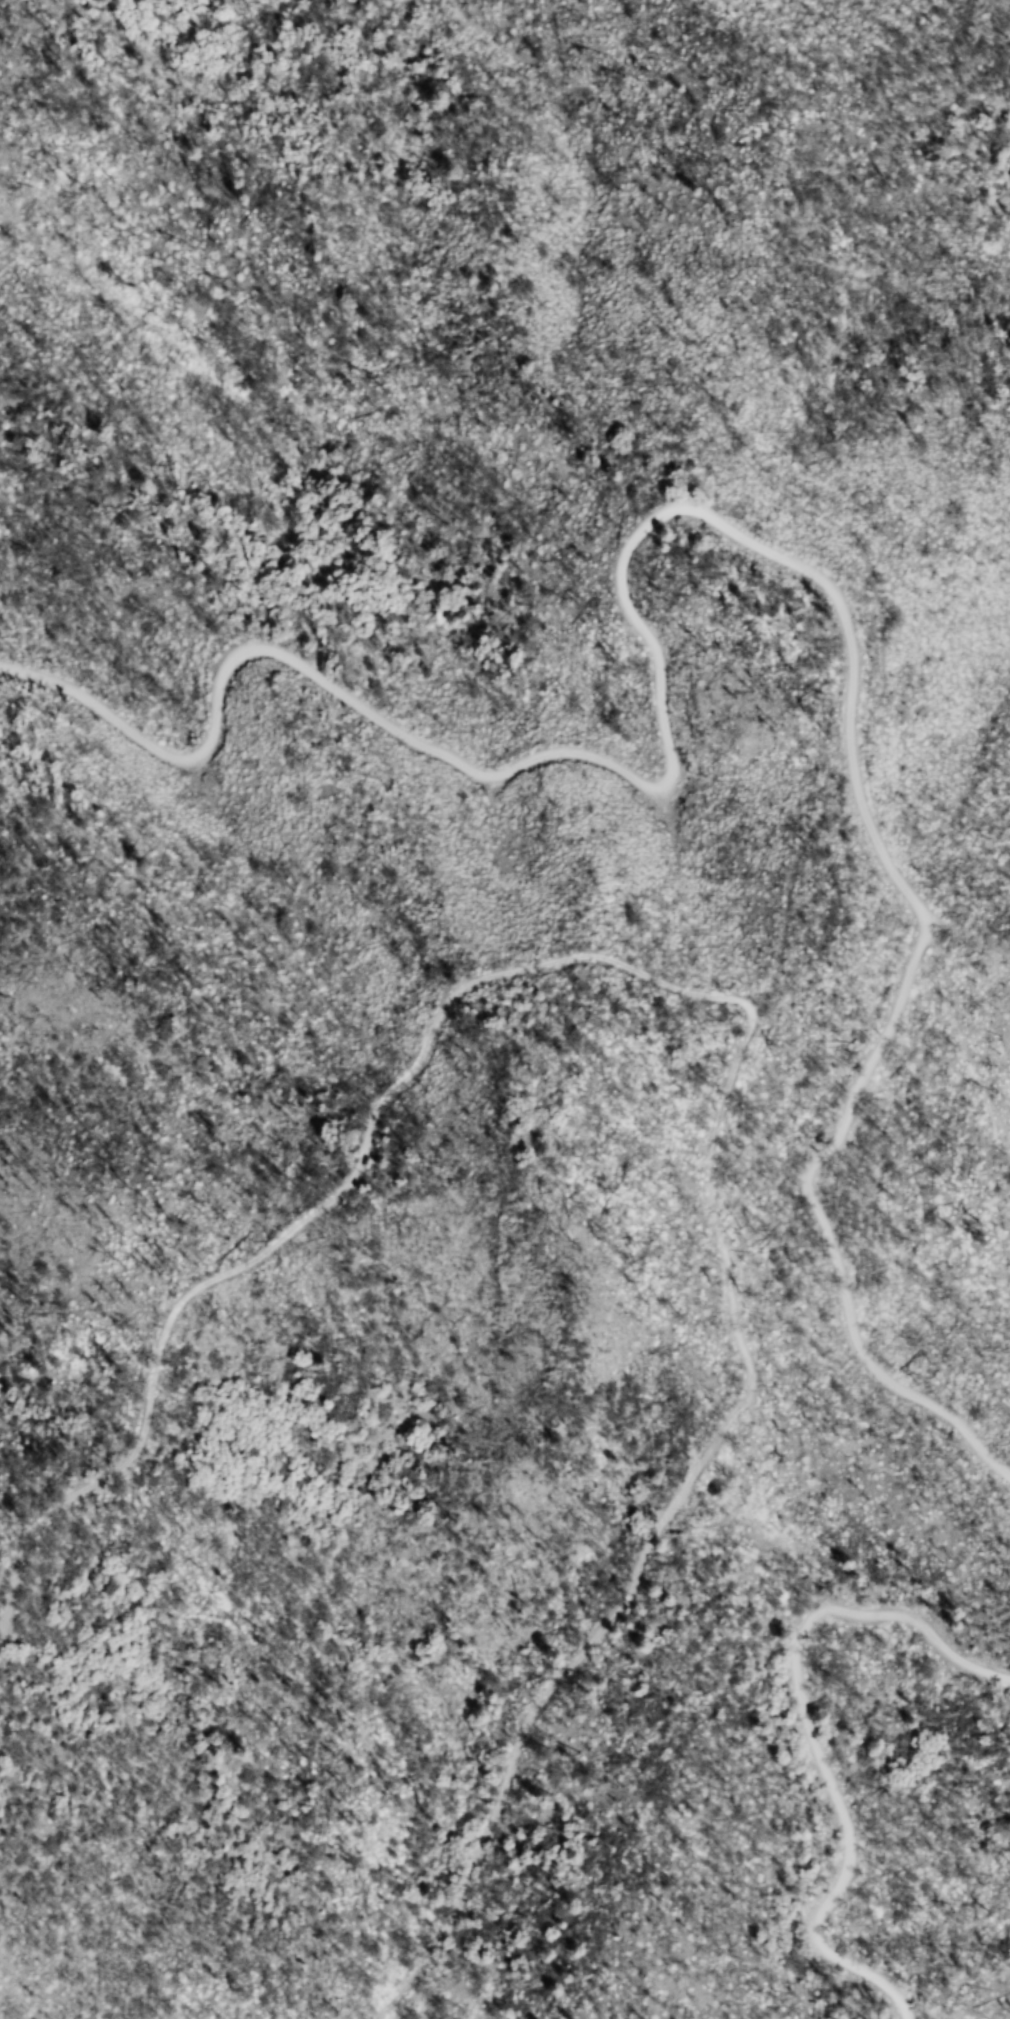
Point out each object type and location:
road: (718, 522)
road: (813, 1723)

